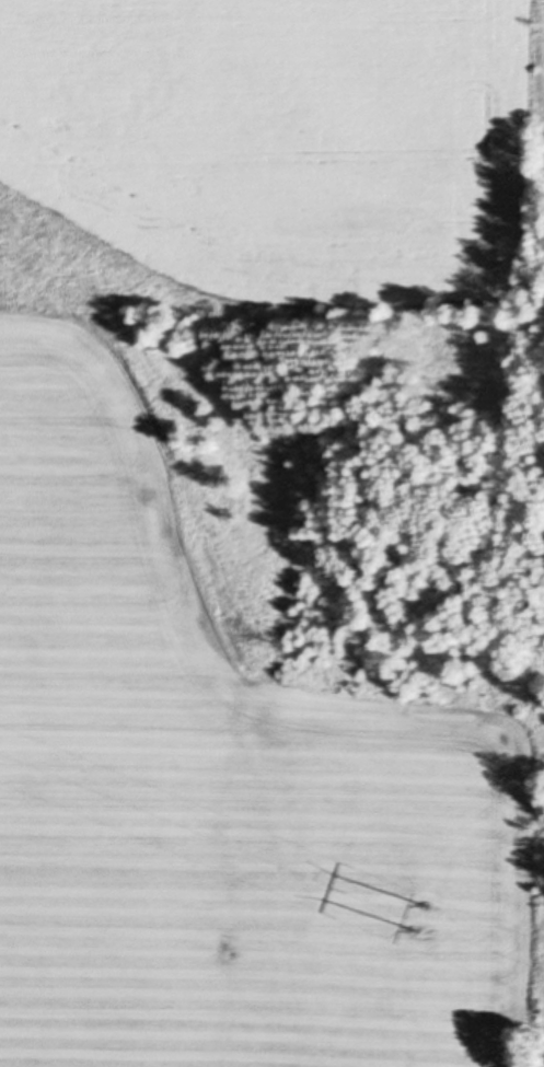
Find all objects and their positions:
power tower: (428, 918)

